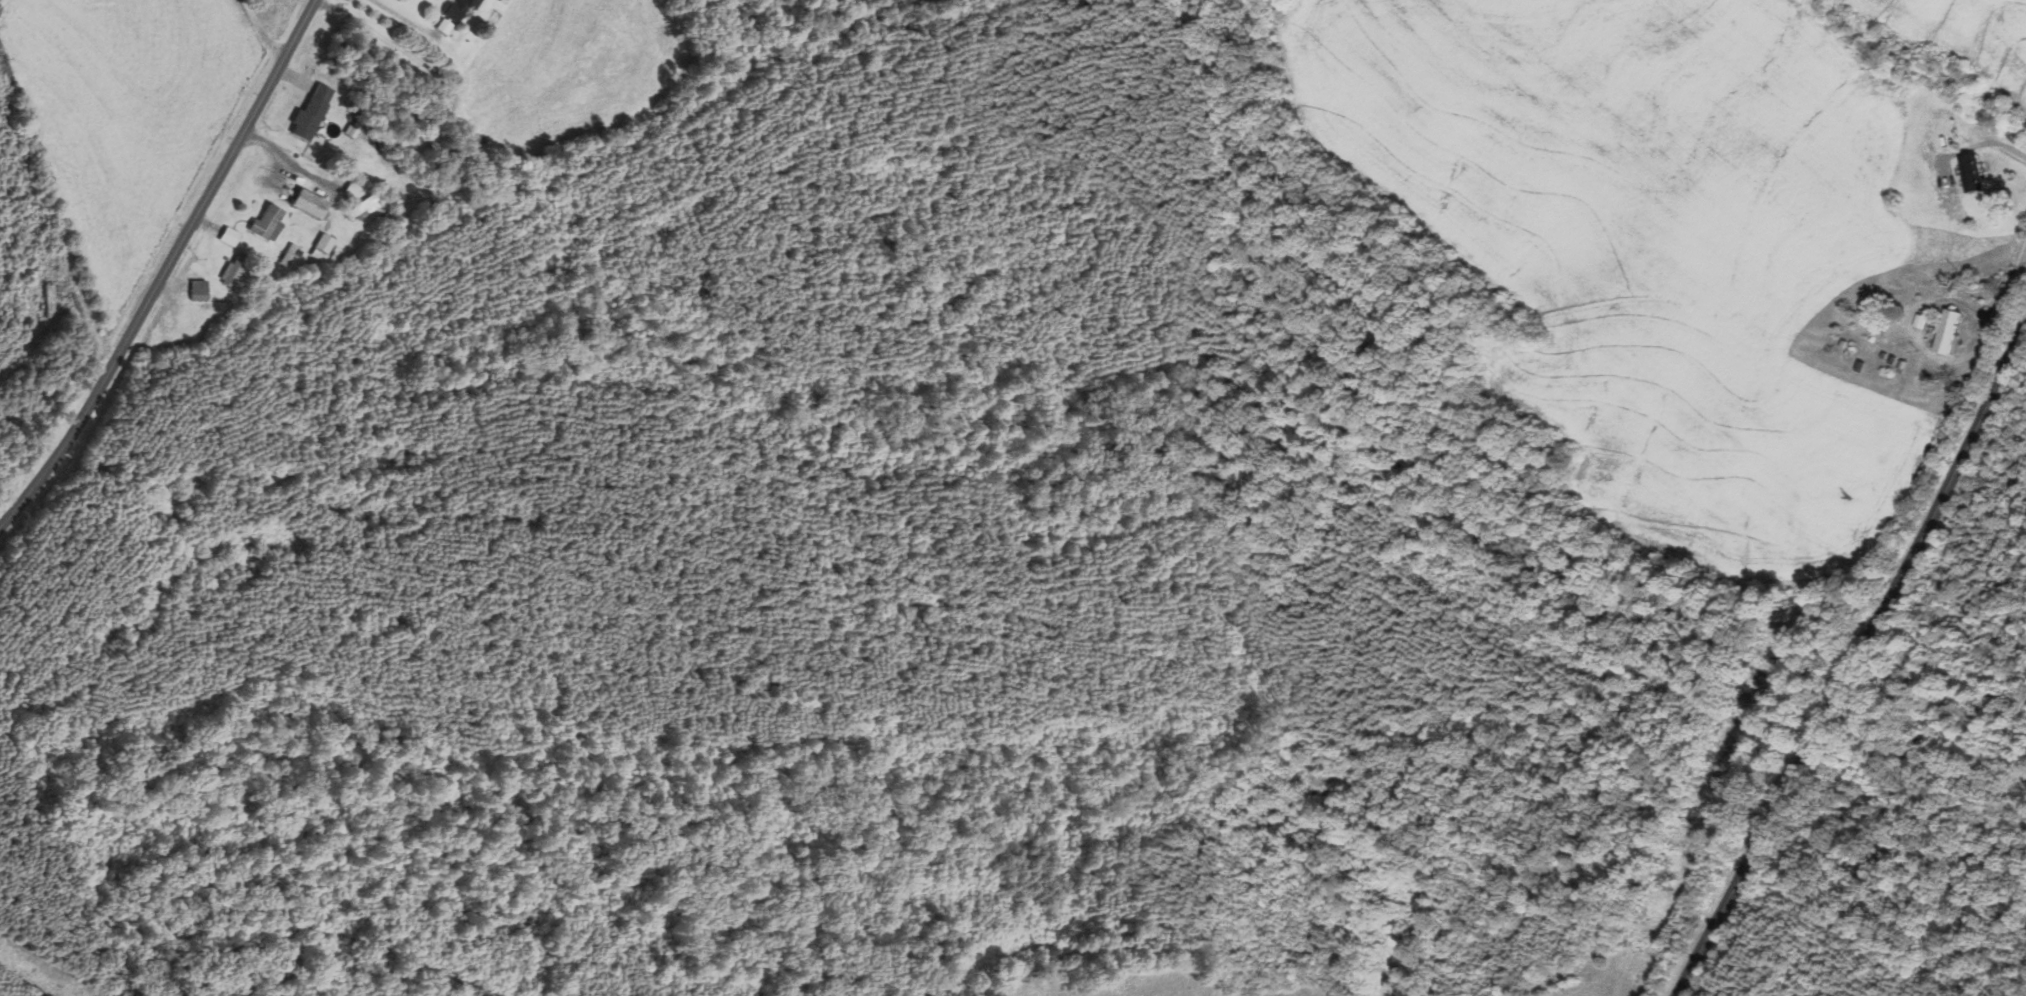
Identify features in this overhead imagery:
building: (460, 10)
road: (1999, 145)
building: (1970, 173)
building: (307, 204)
building: (359, 208)
building: (264, 225)
building: (226, 237)
building: (319, 247)
road: (165, 268)
building: (233, 270)
building: (196, 290)
building: (47, 301)
building: (1950, 331)
road: (1856, 659)

